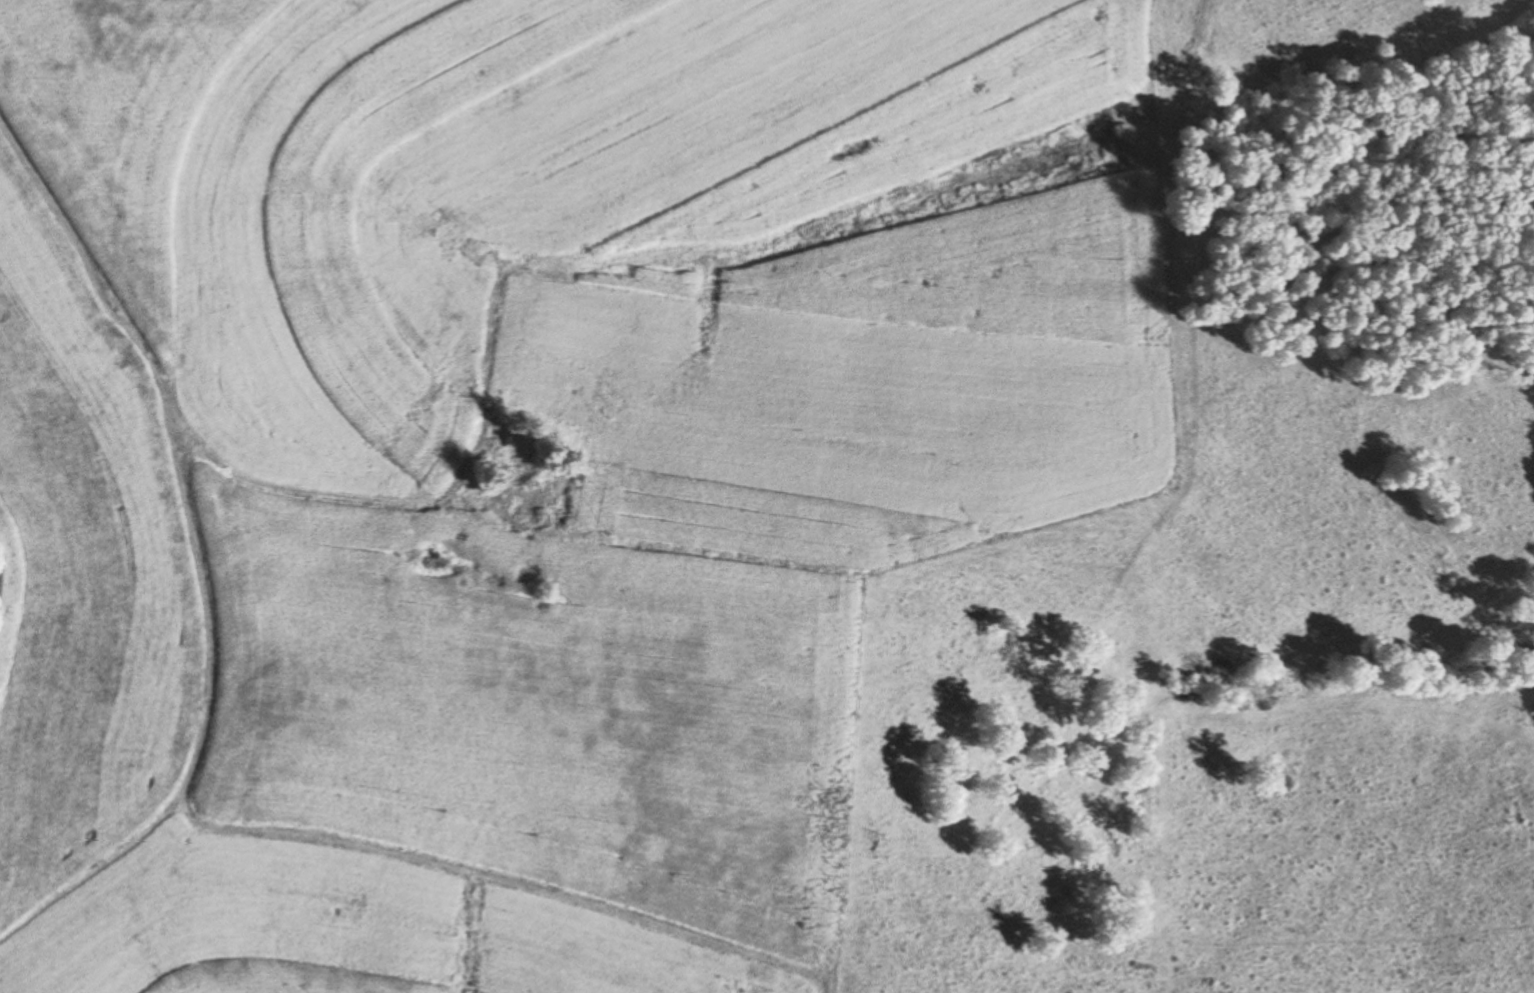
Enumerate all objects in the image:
crop: (114, 127)
crop: (560, 184)
crop: (863, 376)
crop: (83, 576)
crop: (478, 767)

